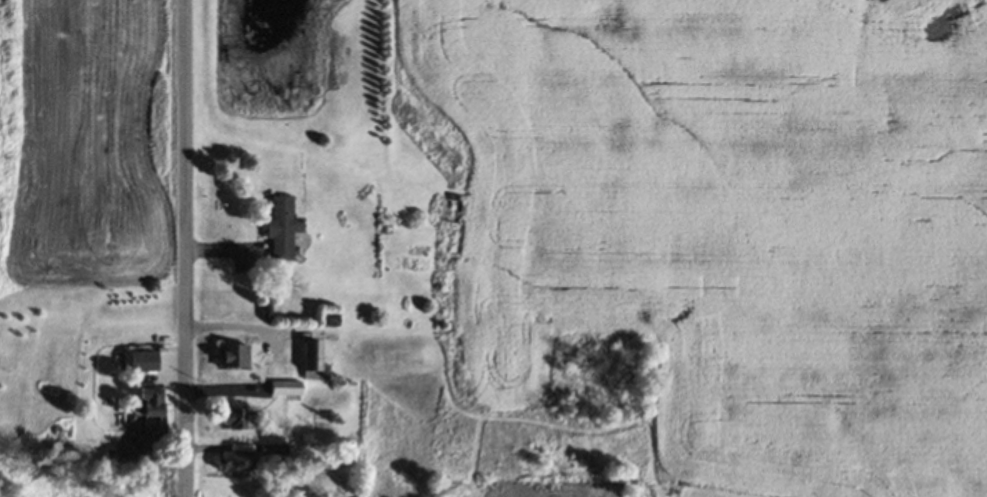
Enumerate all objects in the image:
building: (279, 227)
road: (188, 248)
building: (229, 357)
building: (140, 361)
building: (314, 361)
building: (283, 388)
building: (147, 402)
building: (228, 420)
building: (234, 460)

